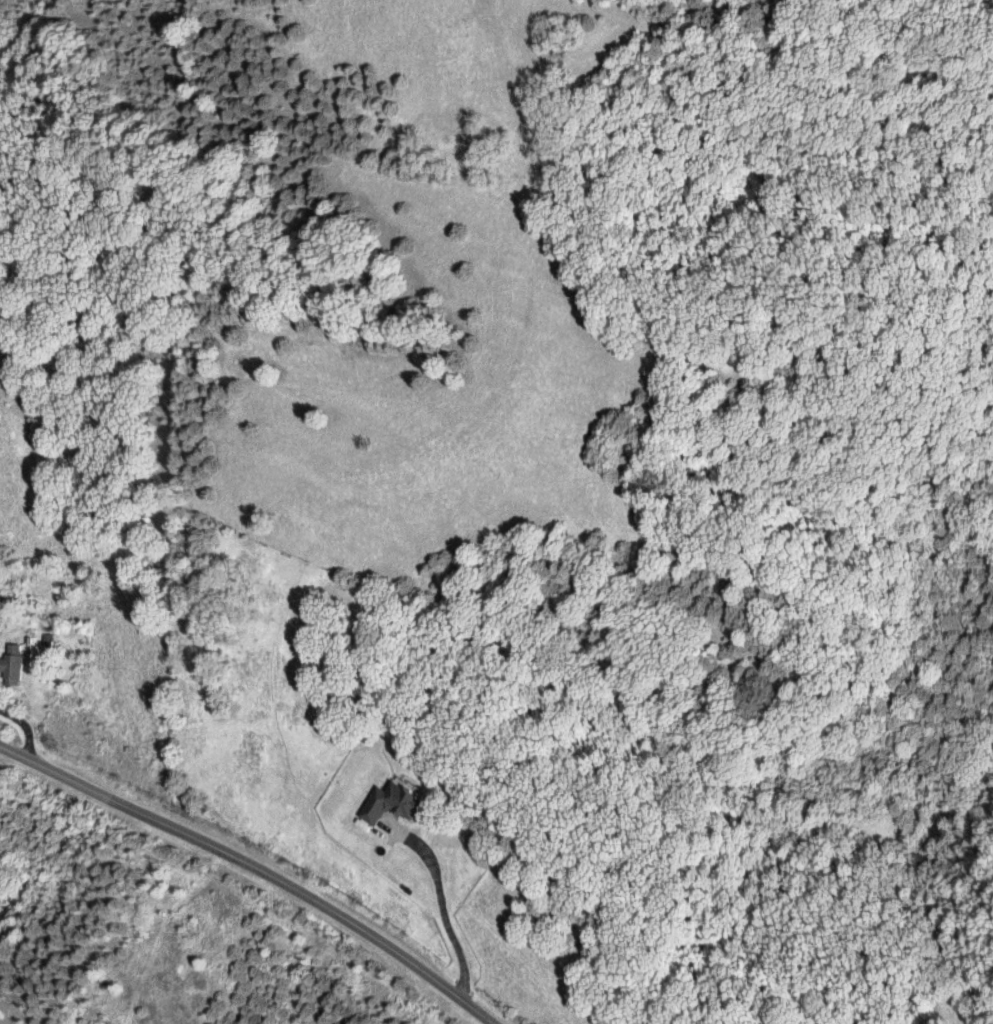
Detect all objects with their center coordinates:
building: (12, 664)
road: (22, 734)
building: (392, 804)
road: (252, 871)
road: (440, 903)

